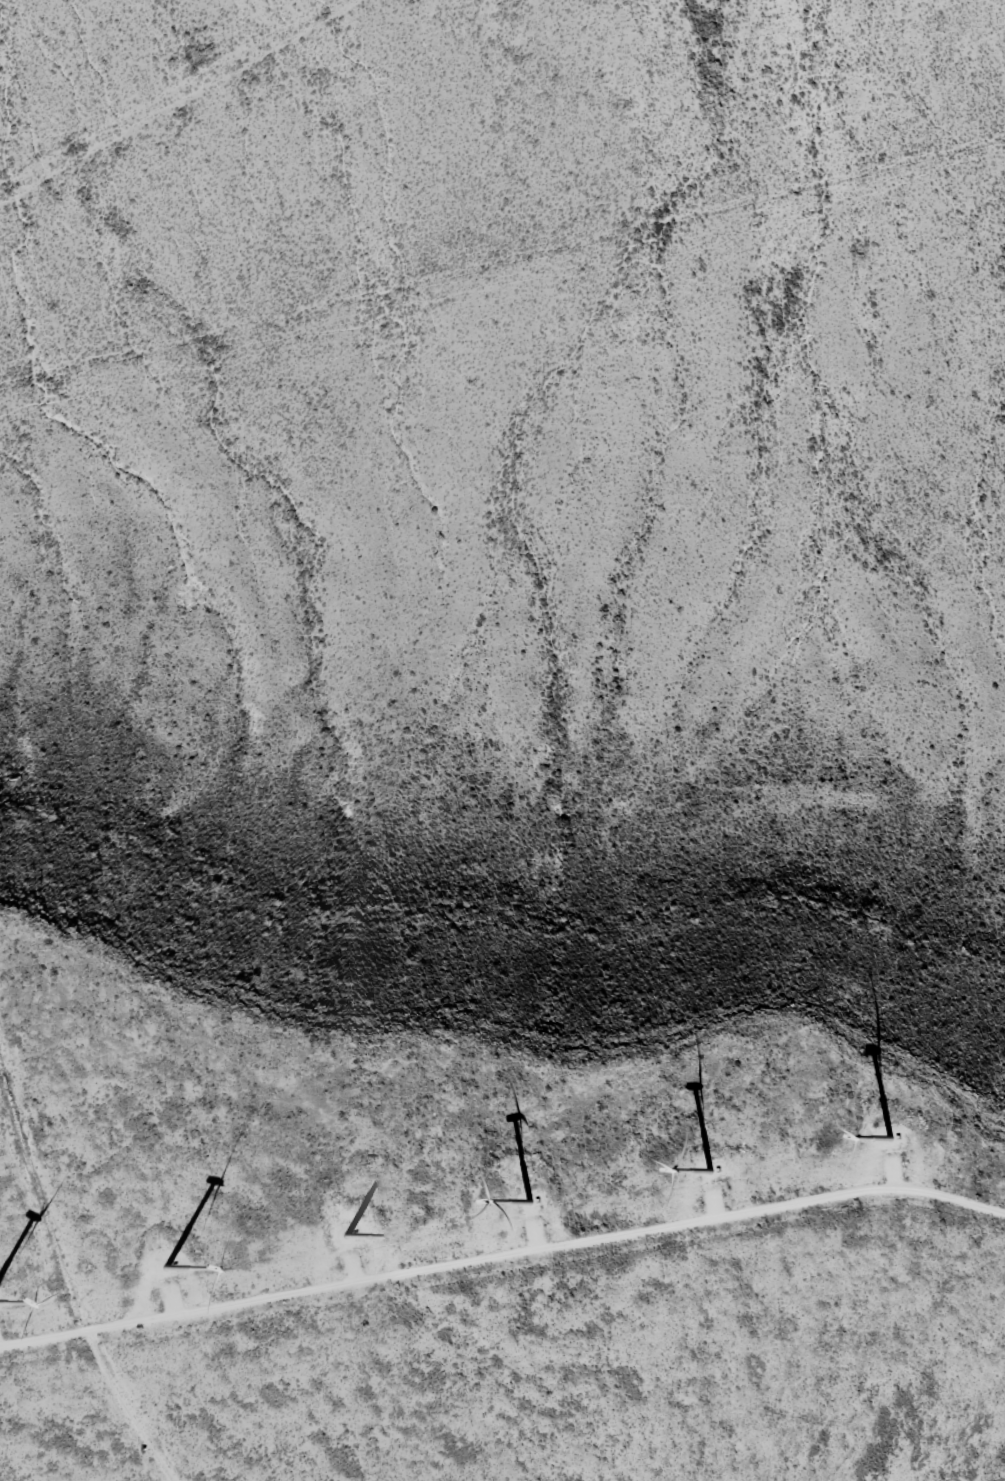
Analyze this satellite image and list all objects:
wind turbine: (884, 1133)
wind turbine: (707, 1178)
wind turbine: (527, 1206)
wind turbine: (354, 1223)
wind turbine: (157, 1277)

